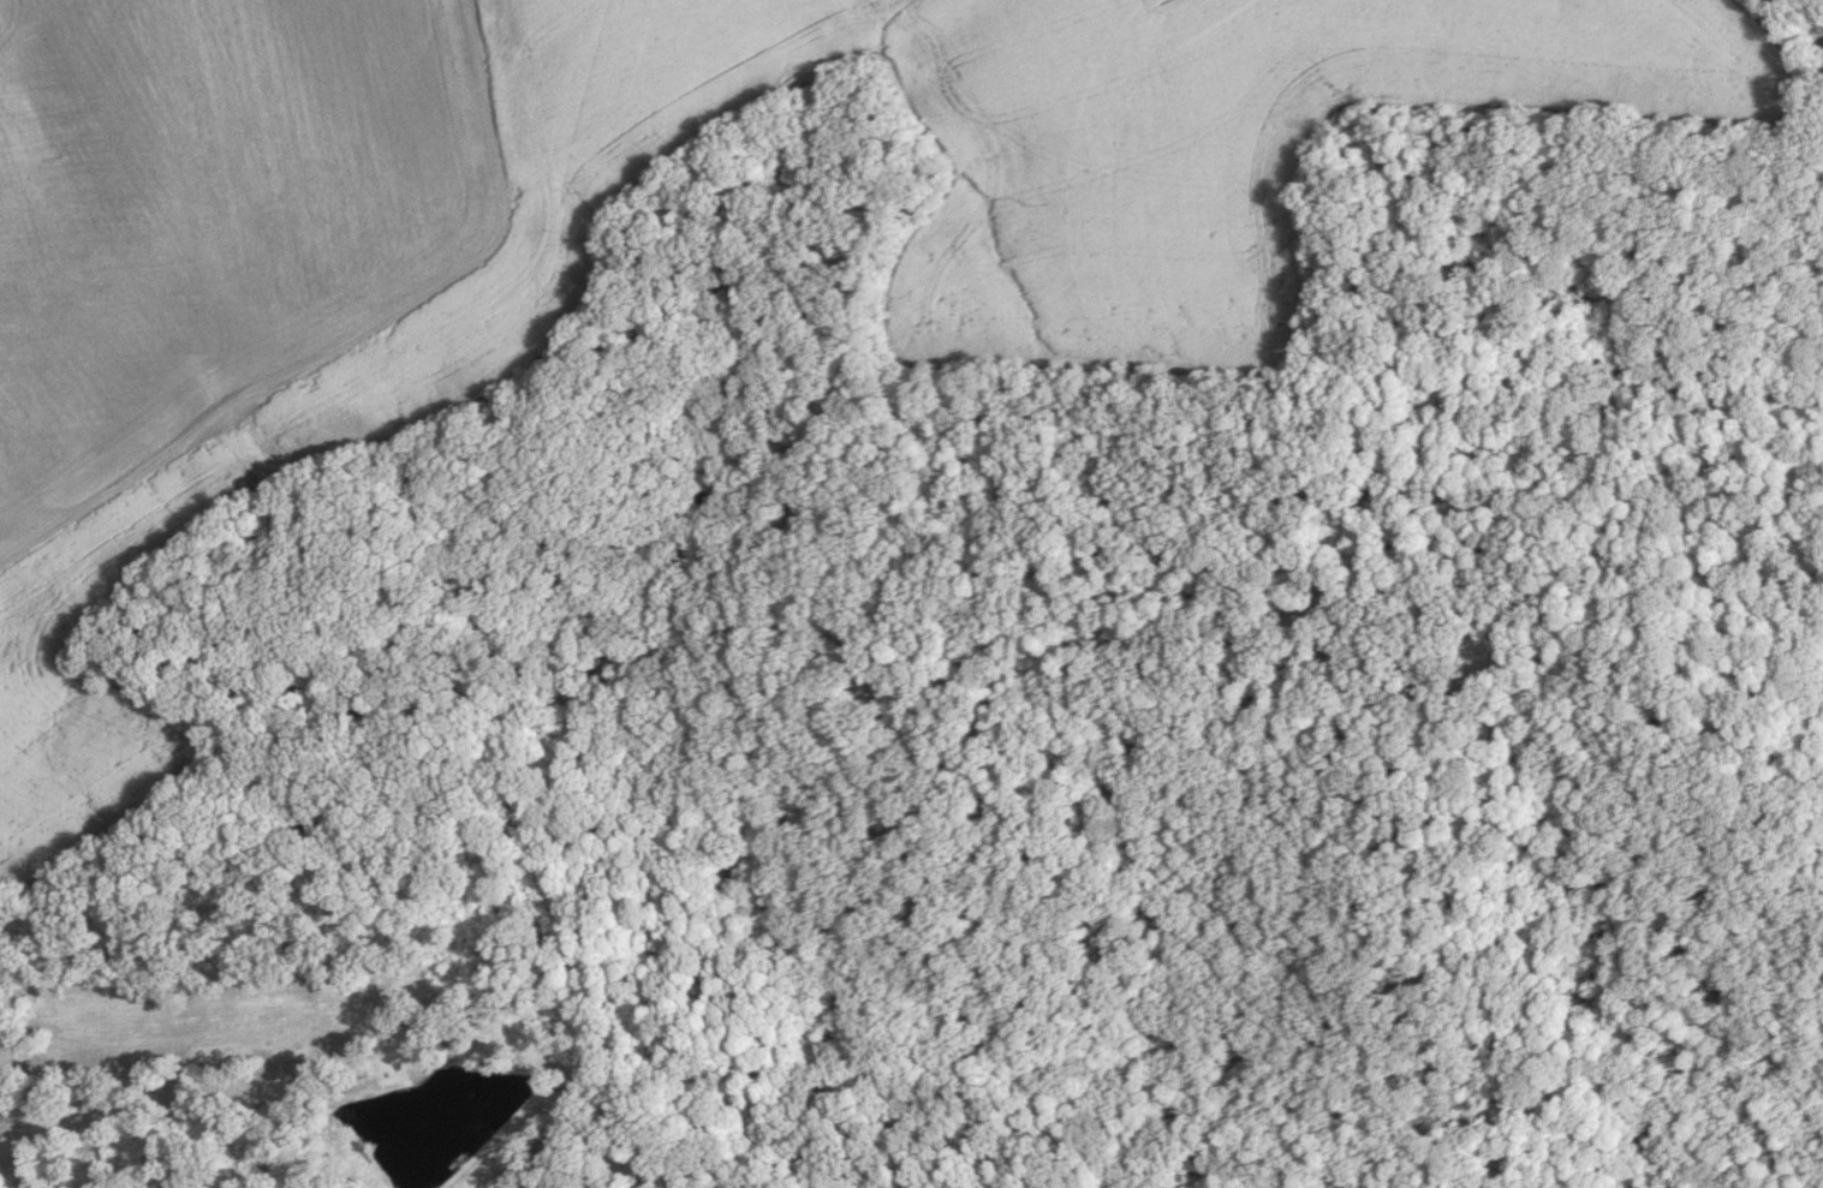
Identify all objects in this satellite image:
road: (350, 338)

